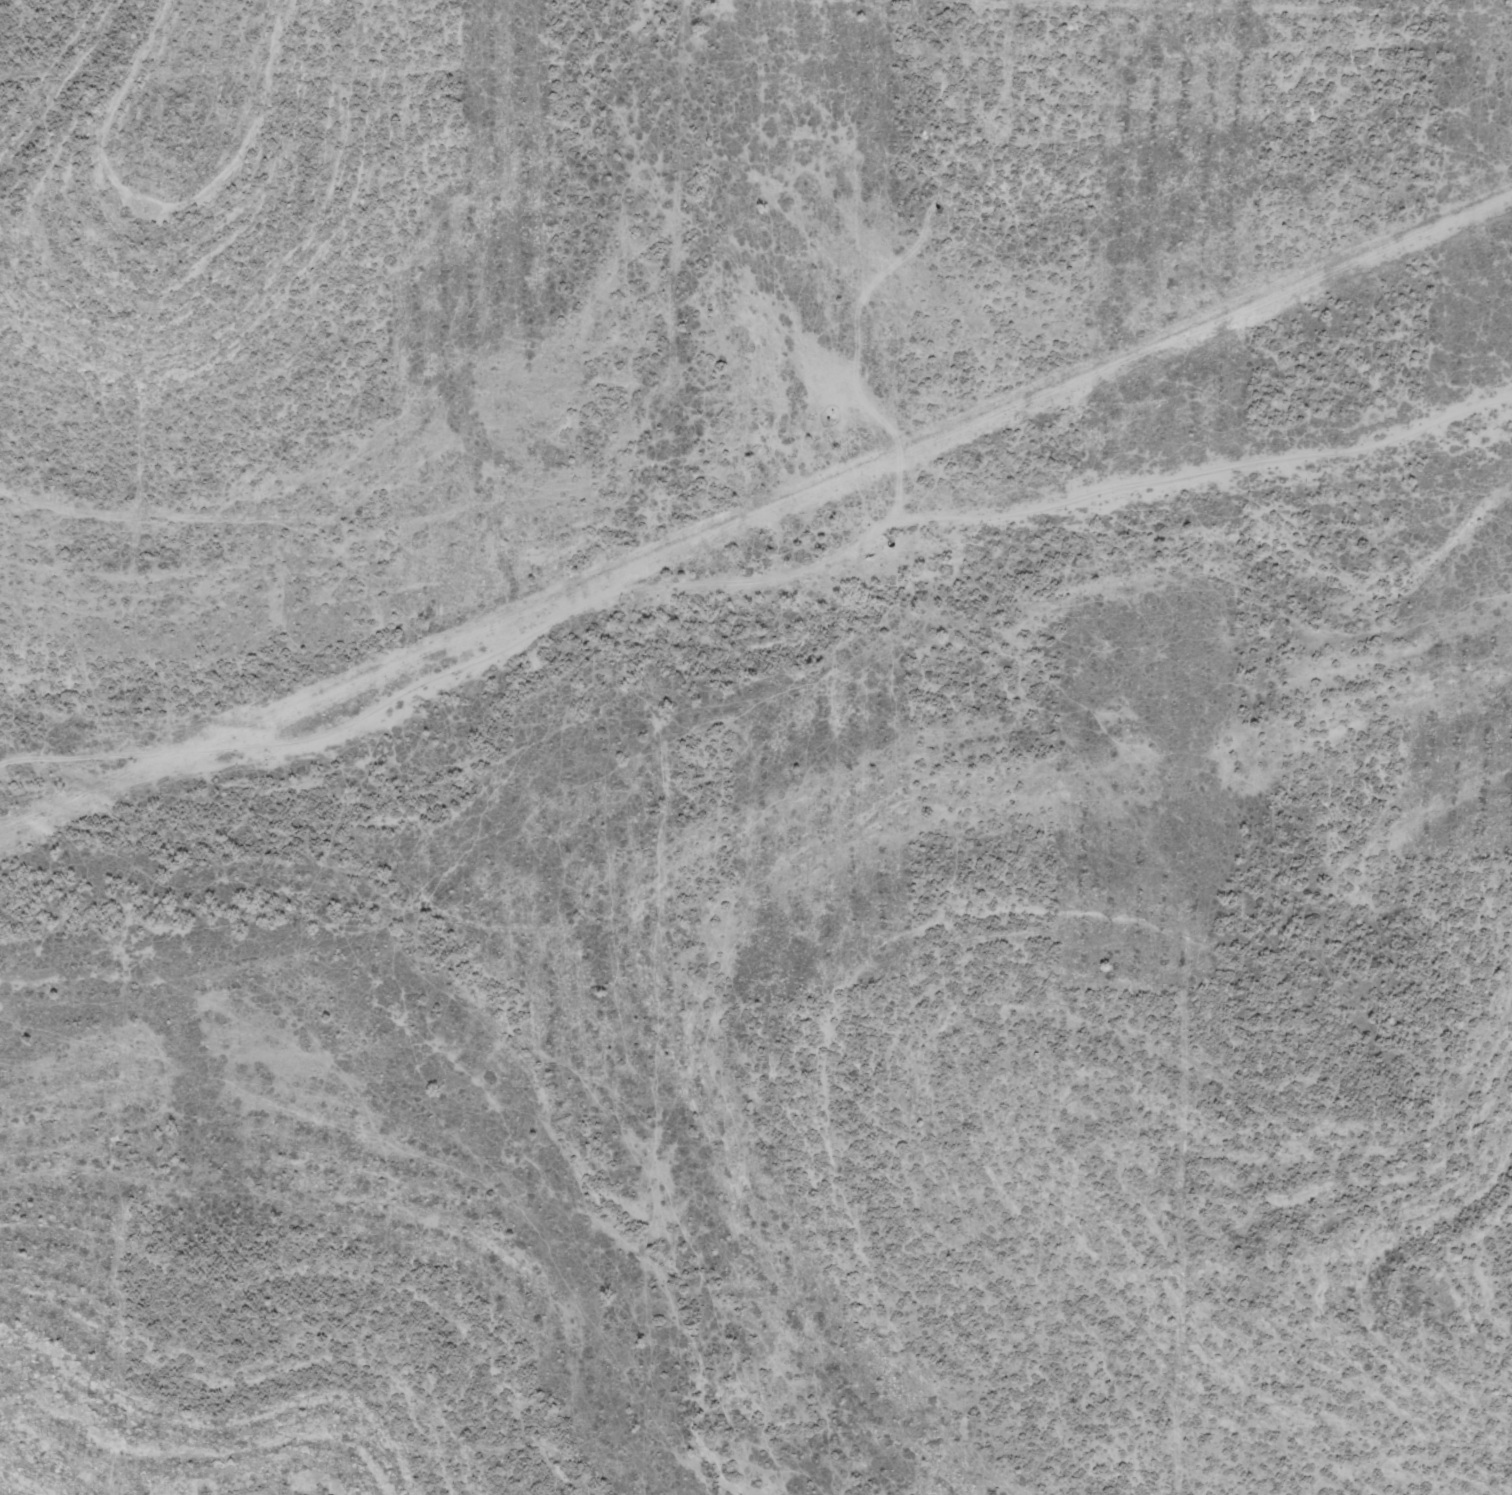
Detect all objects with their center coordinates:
road: (752, 609)

